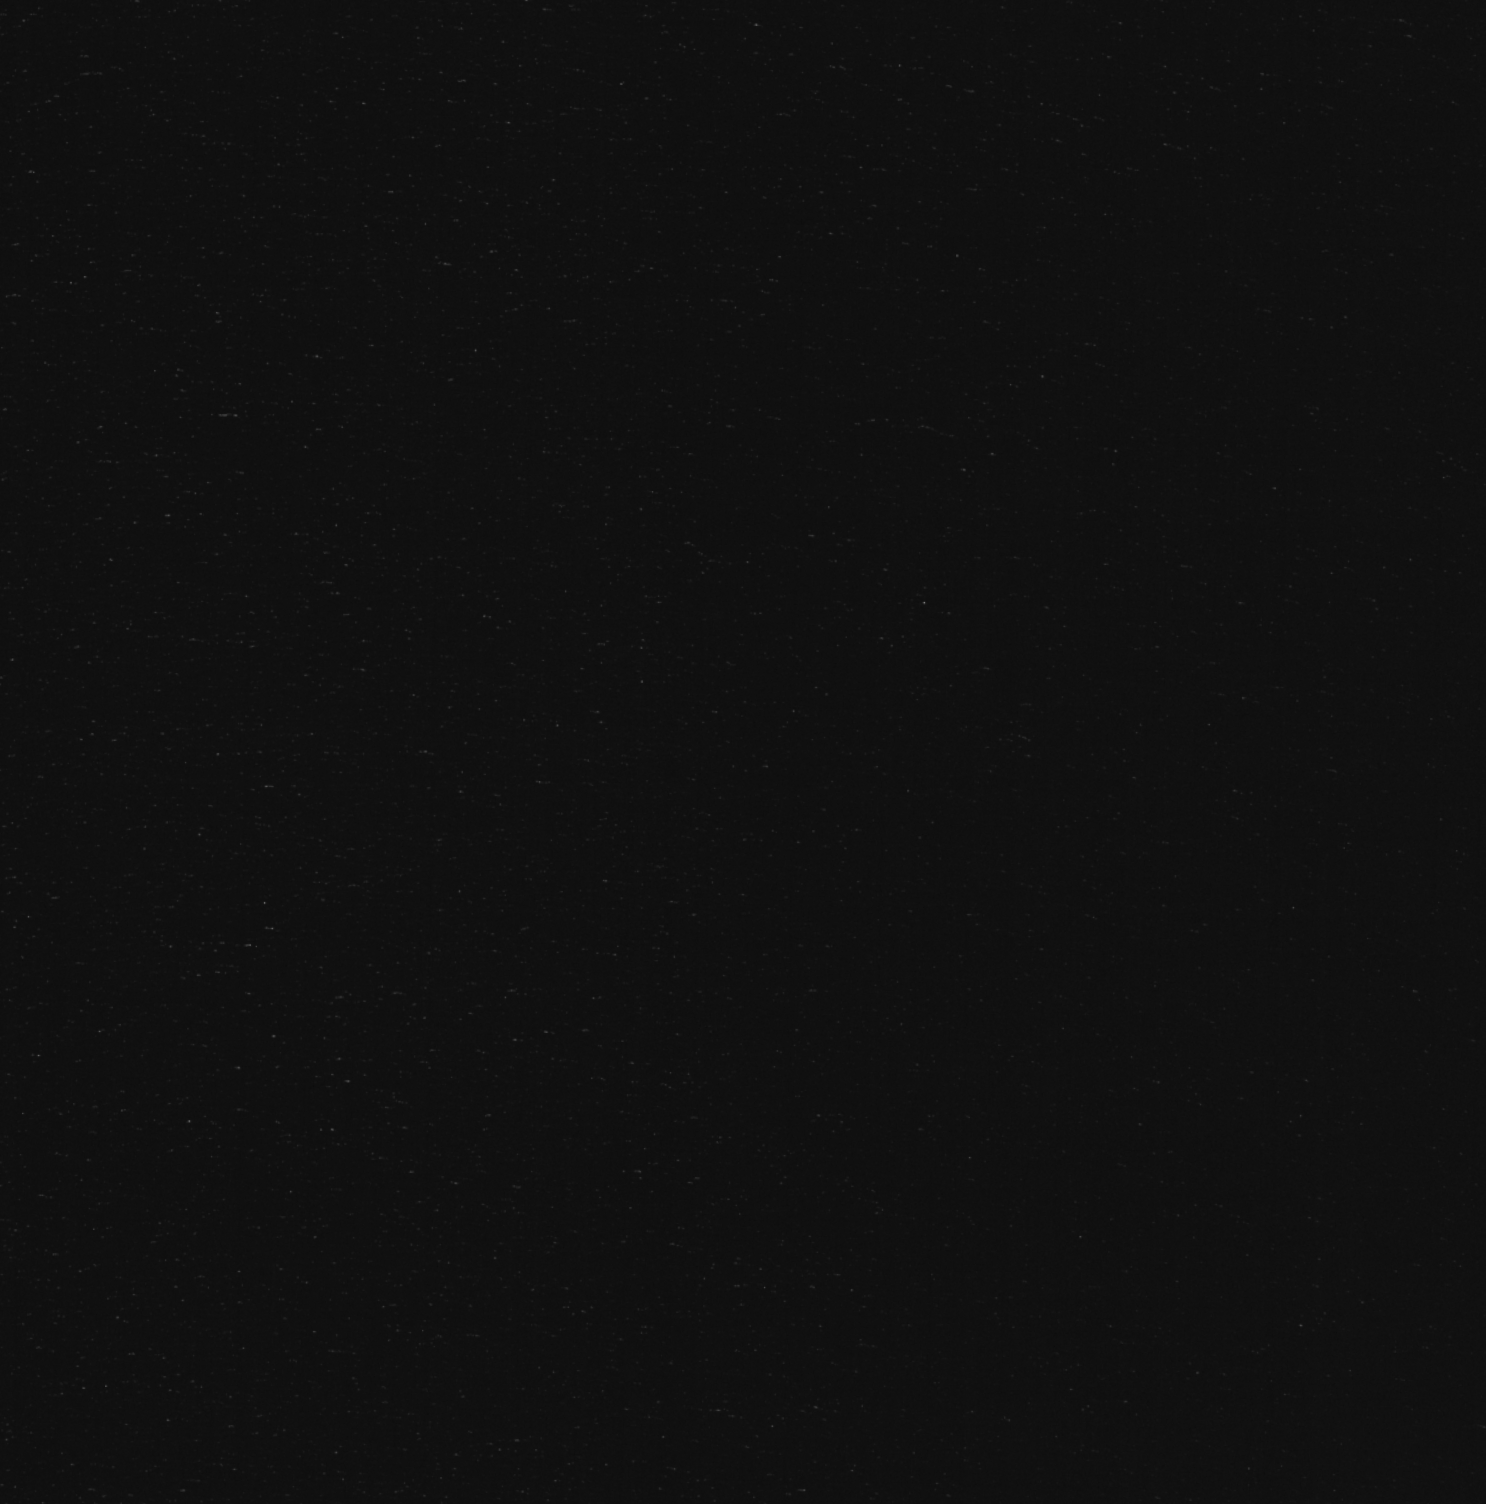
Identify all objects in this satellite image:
river: (741, 572)

